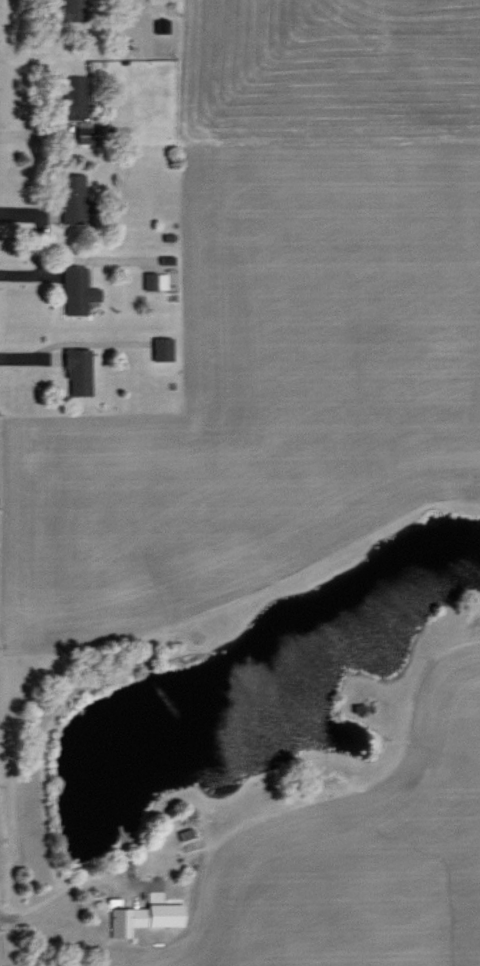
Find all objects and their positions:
building: (75, 9)
building: (74, 95)
building: (89, 131)
building: (74, 196)
building: (154, 279)
building: (76, 288)
building: (162, 347)
building: (77, 370)
road: (57, 893)
building: (141, 915)

